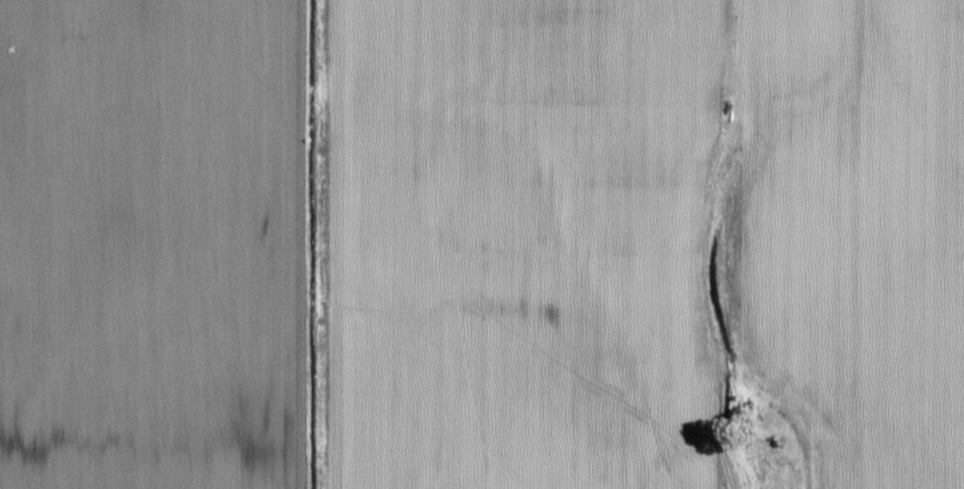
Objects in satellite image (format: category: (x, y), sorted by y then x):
road: (799, 443)

